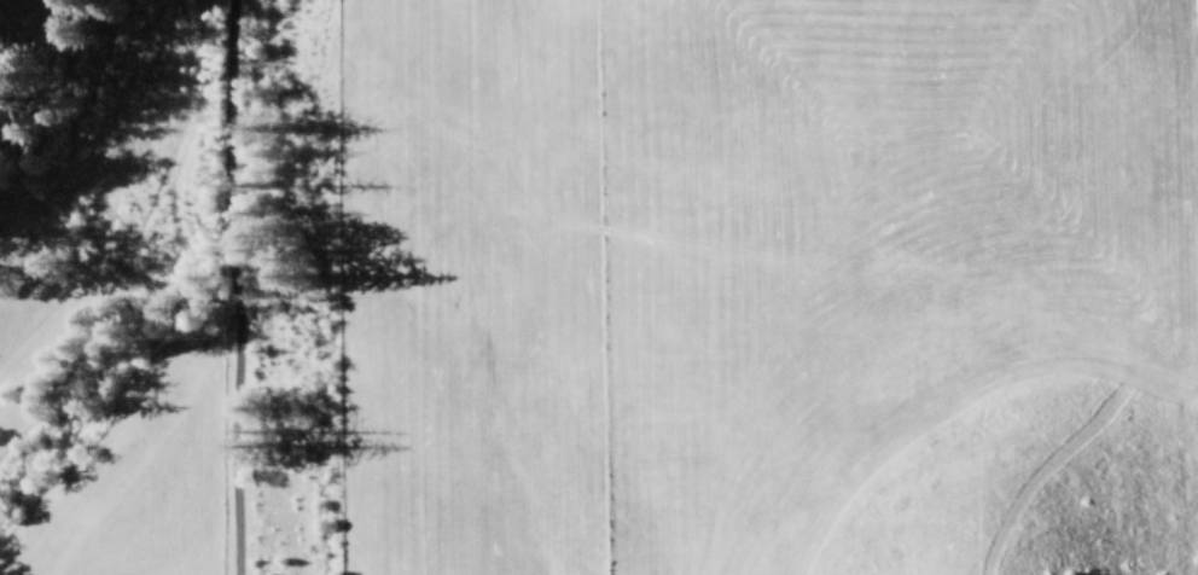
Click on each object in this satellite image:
road: (233, 287)

